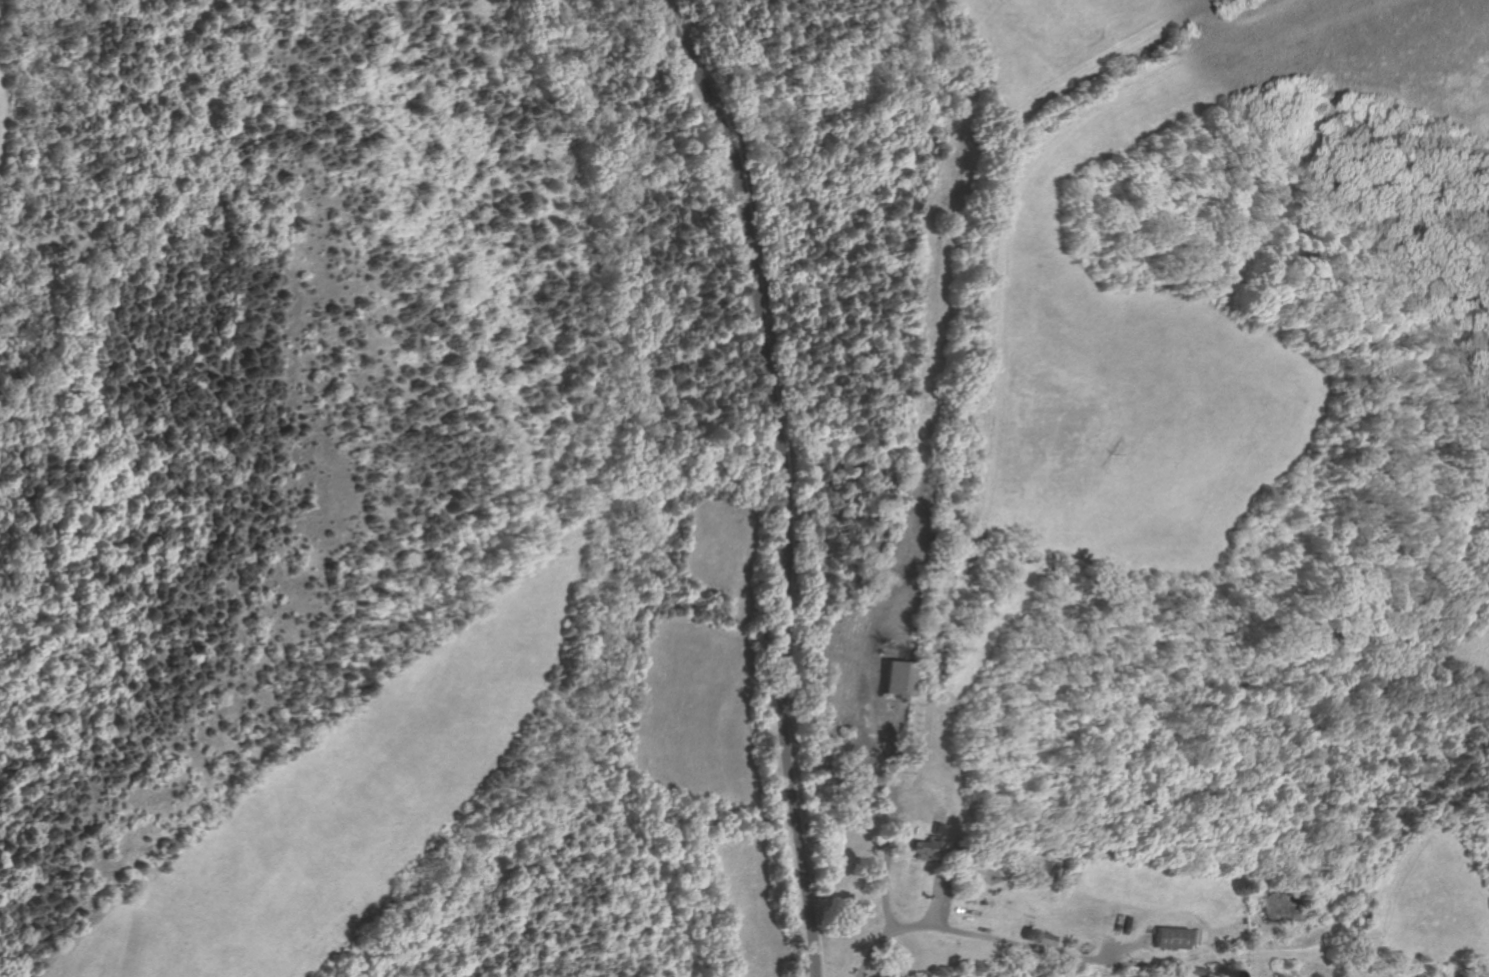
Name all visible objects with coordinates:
road: (992, 349)
road: (789, 479)
building: (894, 678)
building: (934, 828)
building: (923, 849)
building: (1036, 873)
road: (884, 884)
road: (935, 899)
building: (1169, 936)
road: (991, 938)
building: (1045, 938)
building: (1195, 971)

